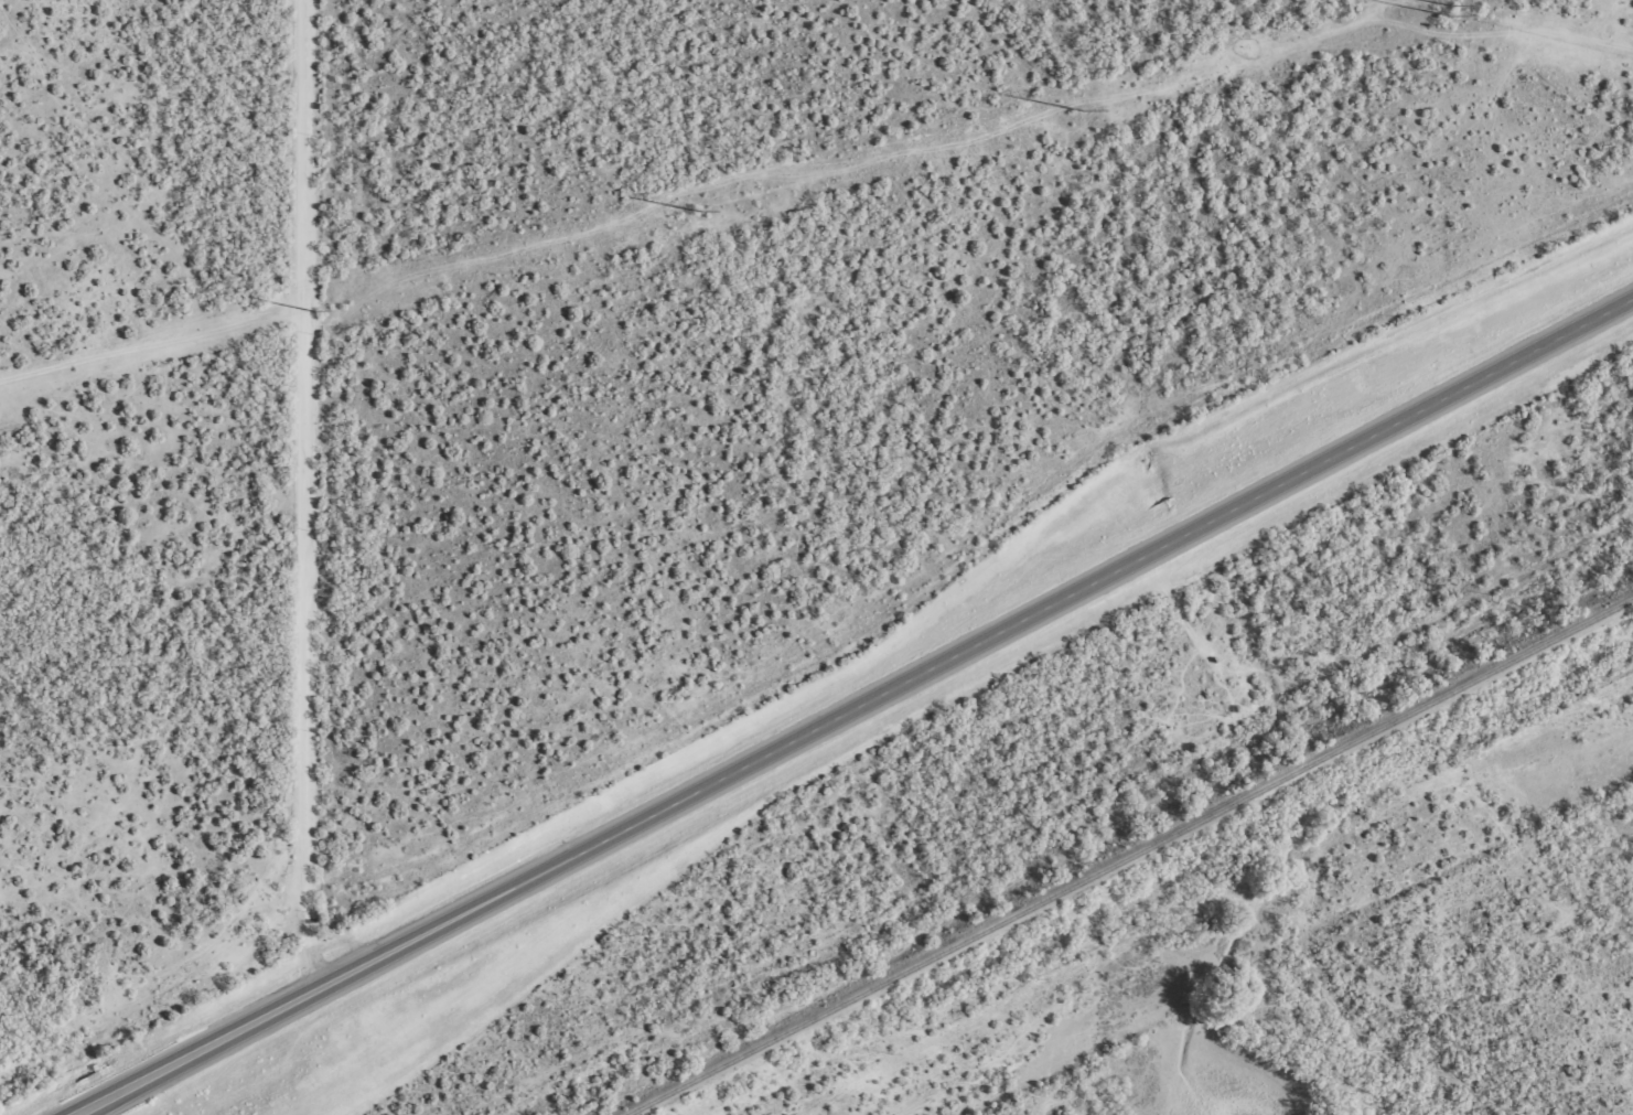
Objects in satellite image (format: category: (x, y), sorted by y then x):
power tower: (1447, 9)
power tower: (1079, 108)
power tower: (696, 210)
power tower: (311, 309)
road: (874, 715)
railway: (1125, 853)

